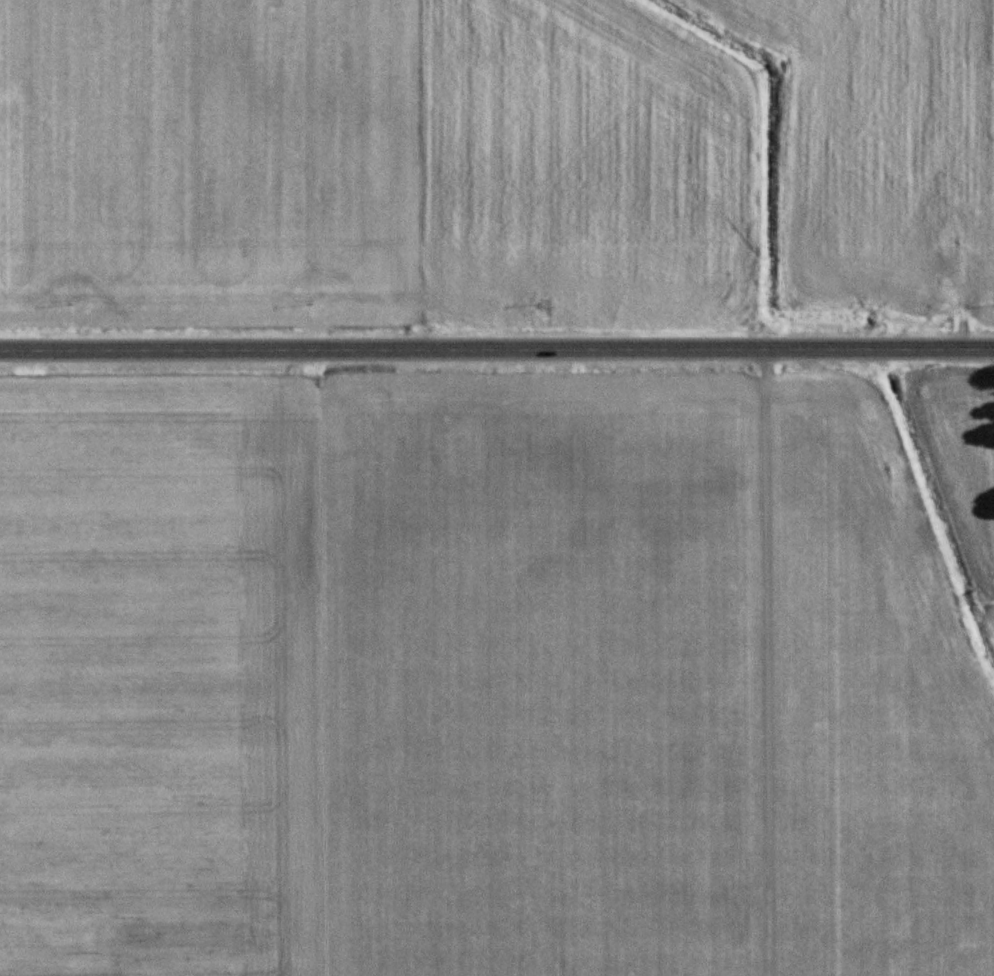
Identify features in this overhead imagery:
building: (946, 266)
road: (497, 350)
road: (744, 663)

